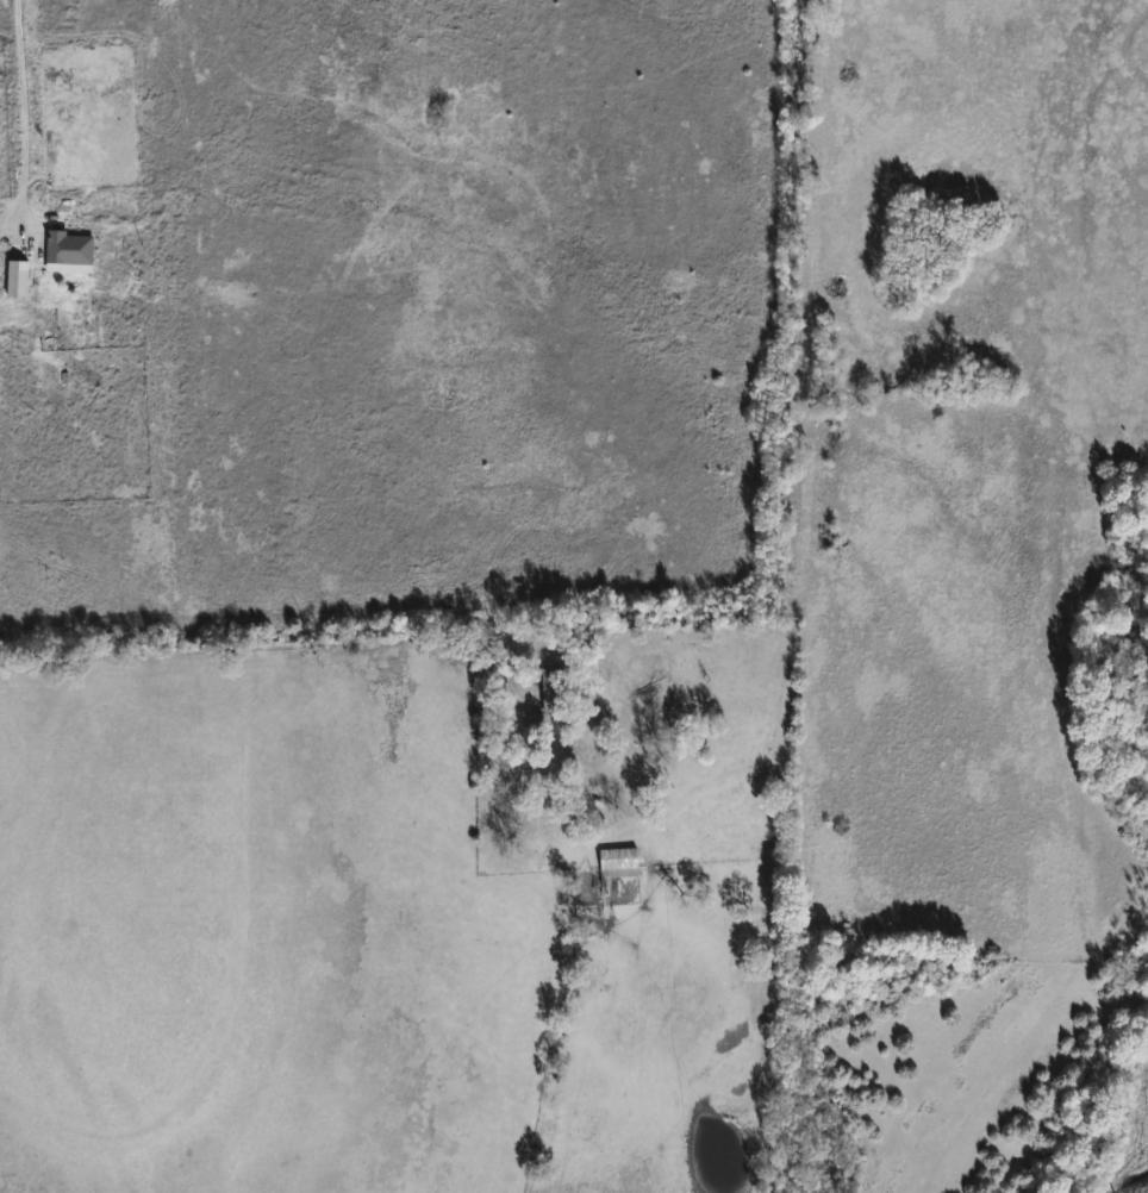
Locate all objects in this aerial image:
road: (14, 106)
building: (73, 250)
building: (20, 276)
building: (553, 689)
building: (620, 862)

